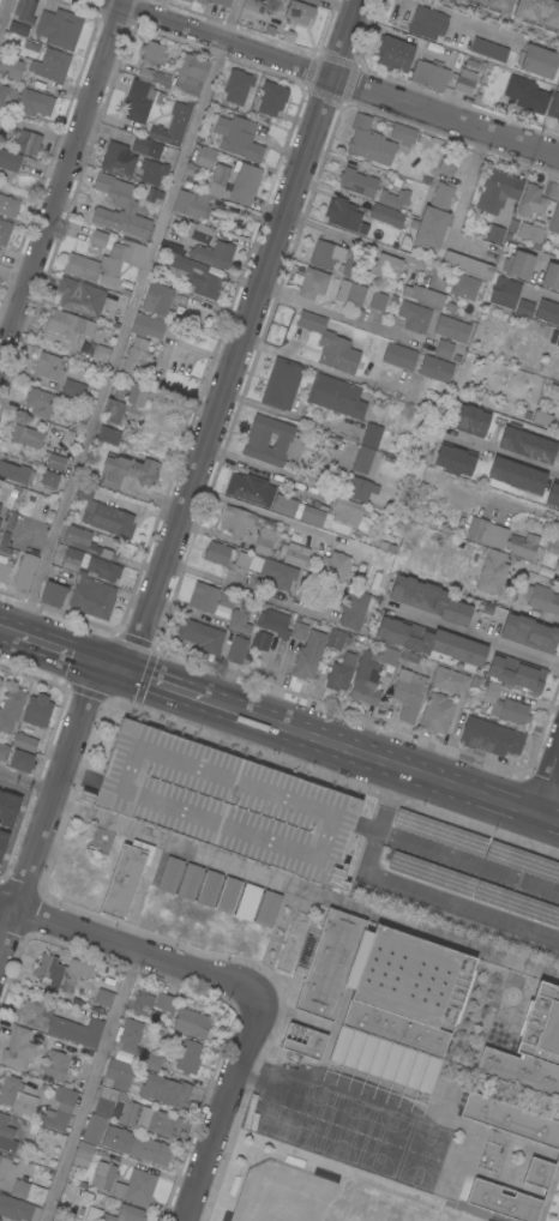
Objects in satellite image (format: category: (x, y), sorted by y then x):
building: (187, 0)
building: (202, 1)
building: (312, 1)
building: (471, 1)
building: (222, 2)
building: (254, 5)
building: (499, 6)
building: (25, 11)
building: (299, 12)
building: (539, 13)
road: (5, 14)
road: (497, 20)
building: (427, 23)
building: (59, 28)
building: (19, 29)
building: (488, 49)
building: (154, 52)
building: (393, 54)
building: (536, 60)
building: (50, 65)
building: (11, 67)
building: (190, 73)
building: (429, 74)
road: (332, 77)
building: (465, 80)
building: (238, 85)
building: (2, 92)
building: (525, 94)
building: (143, 95)
building: (272, 97)
building: (34, 103)
building: (554, 107)
building: (173, 125)
building: (403, 134)
building: (238, 138)
building: (28, 142)
building: (368, 142)
building: (146, 146)
building: (205, 157)
building: (118, 158)
building: (10, 160)
building: (447, 164)
building: (154, 172)
building: (244, 182)
building: (357, 182)
road: (61, 187)
building: (497, 191)
building: (202, 193)
building: (396, 199)
building: (534, 202)
road: (462, 205)
building: (8, 206)
building: (122, 206)
building: (366, 206)
building: (344, 215)
building: (386, 215)
building: (433, 217)
building: (554, 219)
building: (4, 230)
building: (200, 231)
building: (494, 233)
building: (531, 233)
building: (98, 239)
road: (363, 243)
building: (214, 253)
building: (326, 254)
road: (549, 258)
building: (106, 263)
building: (518, 264)
building: (385, 265)
building: (468, 265)
building: (348, 267)
building: (192, 271)
building: (551, 276)
building: (313, 283)
building: (464, 287)
building: (124, 288)
building: (350, 293)
road: (543, 293)
building: (80, 296)
building: (423, 296)
building: (510, 296)
building: (157, 297)
building: (378, 301)
building: (547, 312)
road: (128, 317)
building: (414, 317)
road: (345, 320)
building: (68, 324)
building: (148, 326)
building: (451, 329)
building: (543, 329)
road: (244, 335)
building: (558, 343)
building: (331, 344)
building: (443, 349)
building: (102, 351)
building: (398, 355)
building: (138, 357)
building: (48, 366)
road: (317, 368)
building: (435, 368)
building: (281, 384)
building: (71, 387)
building: (137, 393)
building: (336, 396)
building: (40, 402)
building: (120, 407)
building: (542, 417)
road: (287, 419)
building: (468, 419)
building: (108, 435)
building: (371, 435)
building: (26, 437)
building: (288, 443)
building: (525, 444)
road: (503, 457)
building: (455, 458)
building: (54, 461)
building: (366, 461)
building: (558, 463)
road: (262, 468)
building: (128, 470)
building: (17, 473)
building: (516, 475)
building: (49, 479)
building: (250, 488)
building: (359, 488)
road: (303, 489)
building: (553, 494)
building: (0, 506)
road: (522, 506)
building: (297, 510)
building: (348, 510)
building: (103, 513)
road: (268, 516)
building: (0, 519)
building: (236, 519)
building: (479, 530)
building: (264, 540)
building: (83, 541)
building: (384, 545)
building: (523, 545)
building: (554, 546)
building: (391, 547)
building: (217, 553)
building: (295, 554)
building: (72, 559)
building: (242, 559)
building: (555, 565)
building: (337, 566)
building: (103, 569)
building: (4, 570)
road: (536, 570)
building: (274, 571)
building: (25, 572)
building: (493, 572)
building: (53, 594)
road: (250, 594)
building: (203, 596)
building: (92, 599)
building: (229, 599)
building: (542, 599)
building: (428, 600)
building: (353, 608)
building: (239, 621)
building: (274, 622)
road: (8, 630)
building: (299, 631)
building: (529, 633)
building: (200, 636)
road: (473, 637)
building: (335, 638)
building: (260, 640)
building: (428, 640)
road: (73, 651)
building: (238, 651)
building: (308, 655)
building: (341, 672)
building: (371, 673)
building: (516, 673)
building: (450, 680)
road: (169, 685)
building: (492, 690)
building: (408, 693)
building: (11, 709)
building: (37, 710)
building: (510, 711)
building: (437, 712)
building: (491, 736)
building: (24, 742)
building: (4, 751)
road: (383, 758)
building: (20, 760)
road: (547, 777)
road: (29, 782)
building: (227, 802)
building: (4, 806)
road: (50, 810)
building: (1, 842)
parking lot: (477, 848)
road: (188, 850)
road: (470, 861)
building: (170, 874)
building: (125, 878)
building: (190, 882)
road: (411, 884)
parking lot: (470, 885)
building: (209, 888)
building: (228, 895)
building: (247, 902)
building: (268, 908)
road: (128, 949)
building: (59, 969)
building: (104, 998)
building: (385, 998)
building: (152, 1008)
building: (191, 1022)
building: (60, 1023)
building: (128, 1039)
building: (307, 1045)
building: (530, 1047)
building: (18, 1048)
building: (187, 1057)
building: (154, 1061)
building: (55, 1065)
building: (118, 1075)
road: (96, 1087)
building: (166, 1090)
building: (16, 1095)
road: (227, 1108)
building: (61, 1109)
building: (126, 1117)
building: (510, 1119)
building: (6, 1135)
building: (136, 1145)
building: (83, 1154)
building: (5, 1165)
building: (537, 1173)
building: (103, 1175)
building: (136, 1187)
building: (503, 1201)
building: (22, 1202)
building: (125, 1214)

